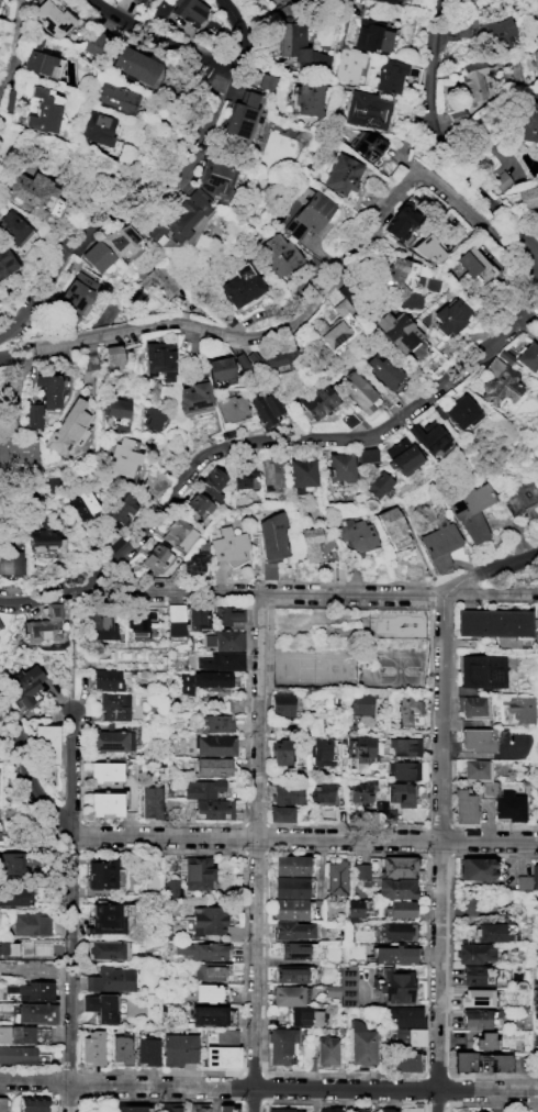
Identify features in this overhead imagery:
building: (314, 0)
building: (388, 0)
building: (134, 1)
building: (142, 2)
building: (188, 9)
building: (52, 18)
building: (533, 24)
building: (463, 25)
building: (497, 31)
building: (374, 35)
building: (96, 41)
building: (299, 45)
road: (11, 48)
road: (195, 54)
building: (37, 57)
building: (536, 59)
building: (347, 64)
building: (137, 65)
building: (390, 75)
building: (266, 80)
building: (473, 80)
building: (117, 97)
building: (309, 98)
building: (366, 109)
building: (42, 112)
building: (457, 114)
building: (245, 118)
building: (527, 120)
building: (98, 127)
road: (440, 140)
building: (365, 144)
building: (340, 174)
building: (215, 179)
building: (502, 180)
building: (35, 194)
building: (531, 200)
road: (119, 202)
building: (306, 212)
building: (182, 218)
building: (401, 221)
building: (14, 227)
building: (121, 240)
building: (427, 247)
building: (279, 254)
building: (96, 256)
building: (7, 260)
building: (473, 264)
building: (400, 275)
building: (157, 281)
building: (242, 285)
building: (75, 296)
road: (304, 311)
building: (449, 315)
building: (338, 327)
building: (411, 338)
building: (278, 354)
building: (112, 355)
building: (504, 355)
building: (528, 357)
building: (253, 358)
building: (159, 359)
building: (89, 360)
building: (240, 360)
building: (220, 368)
building: (384, 368)
road: (328, 376)
building: (498, 382)
building: (358, 390)
building: (43, 399)
building: (194, 399)
building: (316, 402)
building: (231, 407)
building: (266, 407)
building: (115, 408)
building: (459, 410)
building: (152, 418)
building: (348, 419)
building: (66, 426)
road: (300, 436)
building: (428, 436)
building: (18, 451)
building: (367, 455)
building: (402, 456)
building: (122, 457)
building: (339, 466)
building: (271, 472)
building: (306, 476)
building: (243, 477)
building: (212, 480)
building: (378, 483)
building: (82, 504)
building: (195, 504)
building: (121, 508)
building: (477, 514)
building: (393, 526)
building: (177, 533)
building: (356, 533)
building: (45, 536)
building: (271, 536)
building: (309, 542)
building: (442, 542)
building: (228, 544)
building: (153, 555)
building: (194, 558)
building: (10, 561)
road: (489, 572)
road: (305, 593)
road: (36, 599)
building: (228, 613)
building: (197, 618)
building: (138, 619)
building: (173, 619)
building: (100, 623)
building: (43, 624)
building: (536, 624)
building: (0, 625)
building: (497, 627)
building: (224, 638)
park: (349, 648)
building: (221, 660)
park: (312, 667)
park: (397, 669)
building: (480, 671)
building: (109, 679)
building: (201, 679)
building: (23, 685)
building: (280, 702)
building: (234, 703)
building: (360, 703)
building: (469, 704)
building: (113, 705)
building: (519, 707)
building: (406, 709)
building: (215, 722)
building: (314, 722)
building: (110, 740)
building: (475, 740)
building: (45, 743)
building: (404, 746)
building: (216, 747)
building: (359, 749)
building: (280, 750)
building: (321, 750)
road: (27, 769)
building: (216, 769)
building: (403, 769)
building: (475, 769)
road: (71, 781)
building: (201, 788)
building: (108, 791)
building: (322, 791)
building: (361, 791)
building: (285, 793)
building: (401, 793)
building: (503, 801)
building: (152, 804)
building: (462, 805)
building: (380, 807)
building: (213, 808)
building: (279, 812)
road: (304, 838)
road: (260, 853)
road: (437, 853)
building: (11, 863)
building: (290, 865)
building: (396, 866)
building: (474, 868)
building: (359, 870)
building: (197, 872)
building: (100, 874)
building: (534, 876)
building: (336, 877)
building: (522, 883)
building: (290, 887)
building: (170, 888)
building: (395, 888)
building: (14, 896)
building: (400, 908)
building: (290, 909)
building: (354, 909)
building: (107, 918)
building: (206, 920)
building: (30, 923)
building: (291, 930)
building: (396, 930)
building: (489, 932)
building: (232, 933)
building: (8, 947)
building: (41, 948)
building: (105, 949)
building: (202, 949)
building: (293, 950)
building: (473, 953)
building: (392, 954)
building: (209, 970)
road: (68, 974)
building: (294, 974)
building: (477, 975)
building: (110, 979)
building: (347, 985)
building: (393, 986)
building: (31, 990)
building: (206, 992)
building: (288, 996)
building: (475, 997)
building: (100, 1007)
building: (36, 1012)
building: (208, 1014)
building: (304, 1015)
building: (404, 1016)
building: (474, 1018)
building: (16, 1033)
building: (406, 1036)
building: (484, 1041)
building: (365, 1047)
building: (93, 1048)
building: (283, 1048)
building: (122, 1049)
building: (180, 1050)
building: (147, 1052)
building: (328, 1052)
building: (18, 1054)
building: (223, 1057)
building: (461, 1059)
building: (404, 1061)
building: (498, 1061)
road: (269, 1085)
building: (2, 1104)
building: (32, 1104)
building: (197, 1107)
building: (125, 1109)
building: (169, 1109)
building: (227, 1109)
building: (328, 1109)
building: (357, 1110)
building: (386, 1110)
building: (411, 1110)
building: (284, 1111)
building: (477, 1111)
building: (479, 1111)

